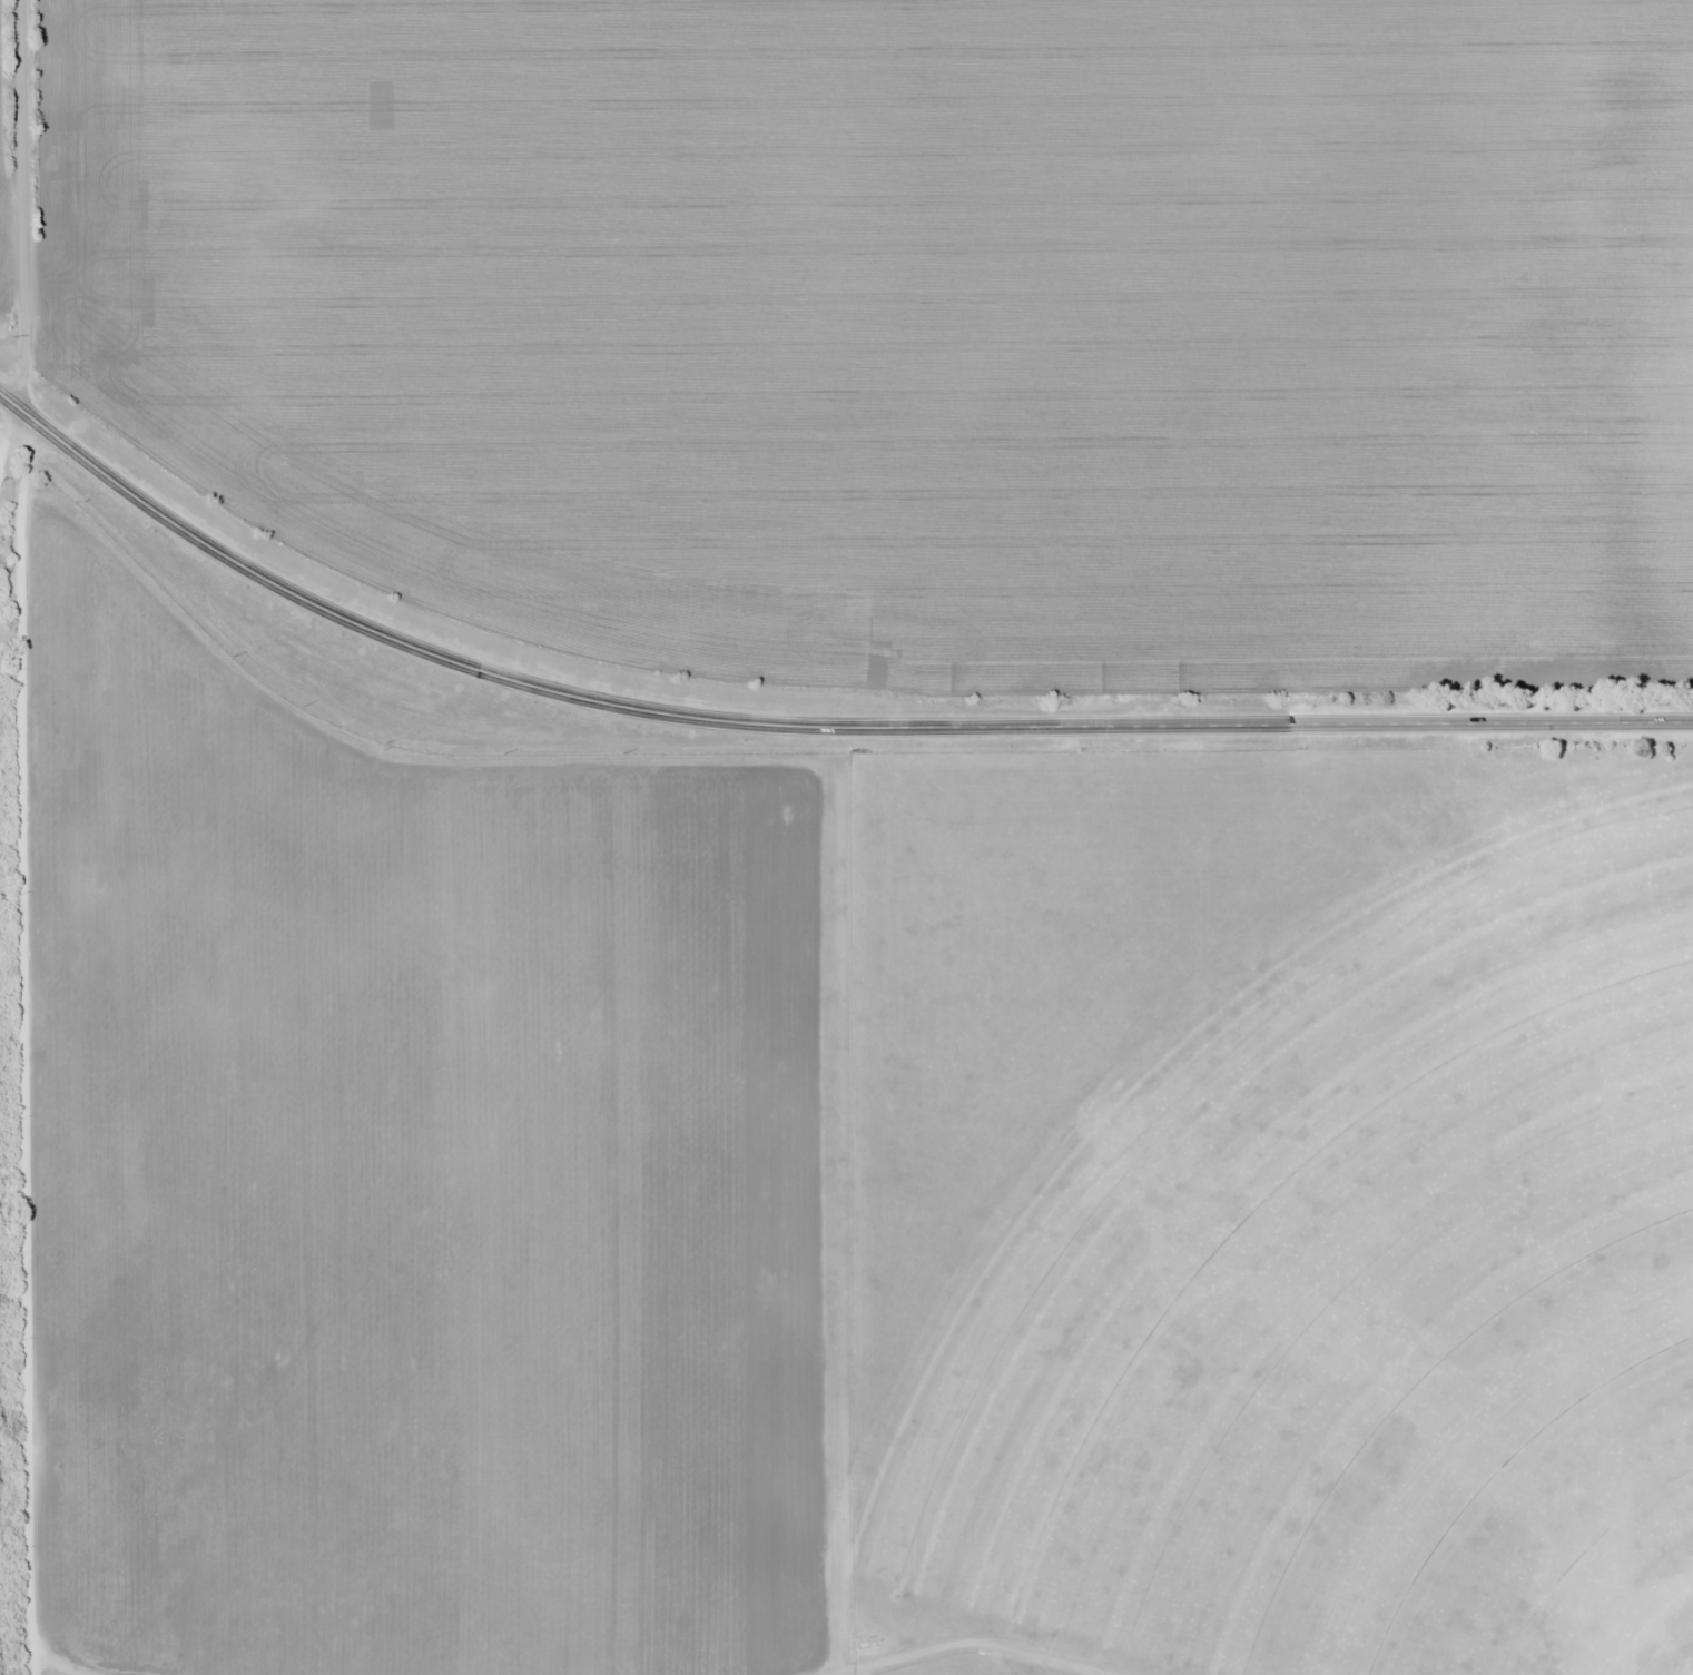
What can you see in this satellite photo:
road: (20, 205)
road: (804, 725)
road: (24, 1048)

